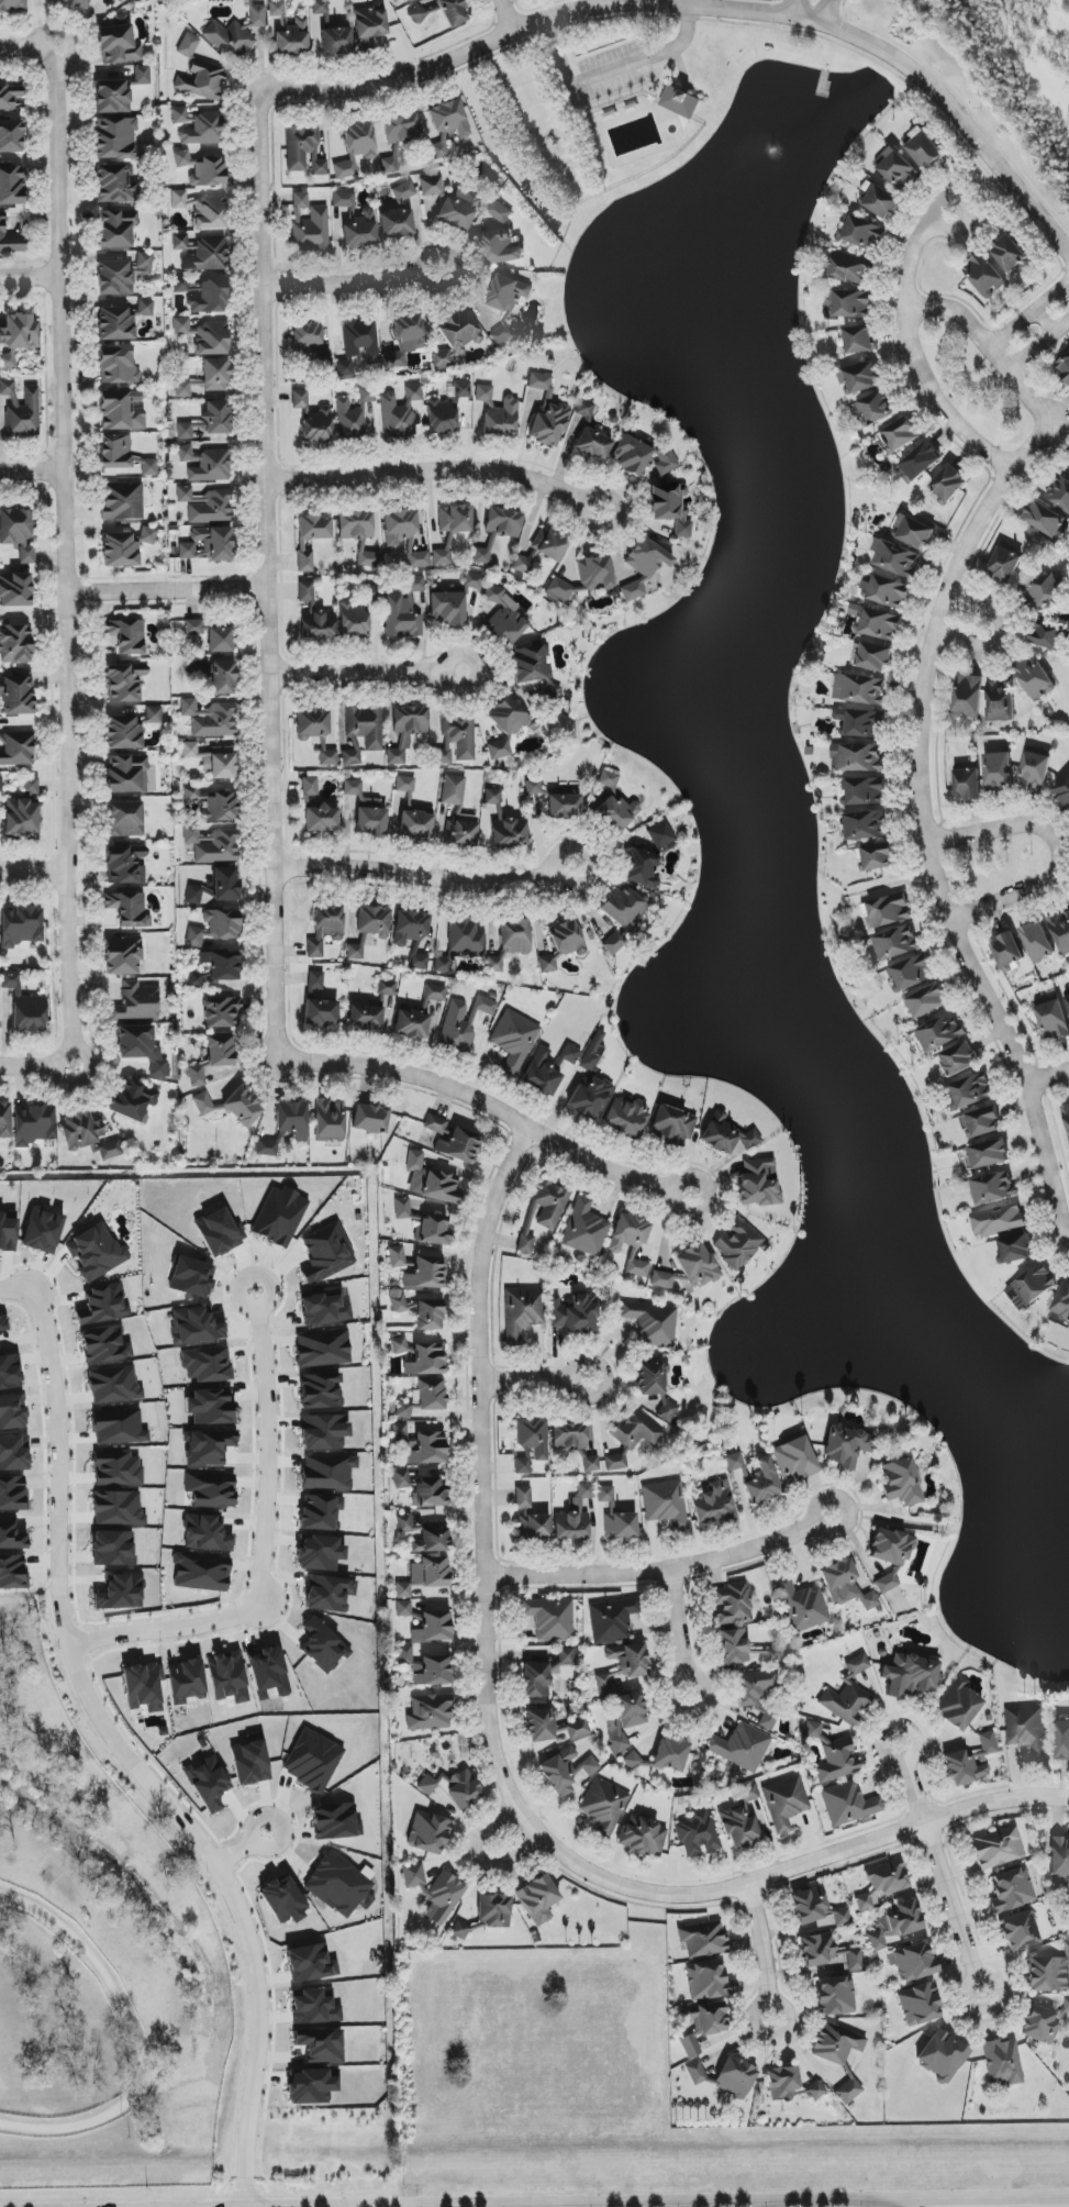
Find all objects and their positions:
building: (119, 0)
building: (403, 0)
road: (677, 2)
building: (75, 3)
building: (12, 4)
building: (320, 7)
road: (705, 8)
road: (792, 8)
building: (442, 11)
road: (829, 13)
road: (510, 14)
building: (257, 15)
building: (369, 24)
building: (289, 32)
building: (229, 40)
building: (335, 40)
building: (118, 45)
road: (609, 70)
building: (199, 73)
building: (142, 75)
building: (9, 95)
building: (112, 97)
building: (680, 102)
building: (447, 125)
building: (198, 126)
building: (400, 129)
building: (10, 136)
building: (115, 138)
building: (359, 141)
building: (924, 149)
building: (304, 151)
fountain: (766, 151)
building: (389, 166)
building: (898, 168)
building: (201, 169)
building: (343, 169)
building: (114, 184)
building: (11, 185)
building: (431, 186)
building: (403, 191)
building: (343, 199)
building: (882, 202)
building: (202, 209)
building: (458, 209)
building: (500, 212)
building: (396, 223)
building: (309, 224)
road: (943, 225)
building: (115, 229)
building: (360, 230)
building: (864, 233)
building: (10, 240)
building: (501, 246)
building: (201, 253)
building: (1009, 253)
building: (144, 264)
building: (851, 267)
building: (983, 274)
road: (24, 277)
building: (114, 278)
road: (358, 281)
building: (204, 292)
building: (508, 293)
building: (849, 304)
building: (145, 308)
road: (1029, 313)
road: (1045, 320)
building: (115, 324)
building: (19, 332)
building: (502, 334)
building: (203, 336)
building: (455, 337)
building: (859, 339)
building: (403, 341)
building: (358, 344)
building: (310, 345)
road: (1039, 345)
road: (915, 356)
building: (8, 361)
building: (118, 366)
building: (1064, 367)
road: (1012, 371)
building: (859, 377)
building: (207, 378)
building: (539, 381)
building: (367, 395)
building: (876, 408)
building: (21, 410)
building: (121, 410)
building: (446, 410)
building: (400, 412)
building: (498, 412)
building: (216, 418)
building: (313, 419)
building: (349, 422)
building: (548, 424)
building: (185, 431)
building: (899, 435)
building: (592, 444)
building: (187, 454)
building: (123, 455)
building: (641, 455)
building: (921, 459)
building: (211, 466)
road: (443, 469)
road: (31, 474)
building: (948, 483)
building: (1059, 491)
building: (122, 500)
building: (207, 504)
building: (670, 508)
building: (454, 519)
building: (1045, 519)
building: (355, 525)
building: (399, 526)
building: (314, 528)
building: (498, 531)
building: (18, 532)
building: (913, 532)
building: (209, 544)
building: (548, 544)
building: (125, 547)
building: (442, 557)
building: (895, 557)
building: (368, 559)
building: (417, 559)
building: (304, 561)
road: (67, 562)
building: (524, 562)
building: (645, 565)
building: (1004, 565)
building: (593, 576)
road: (268, 578)
building: (415, 584)
building: (15, 590)
building: (559, 590)
building: (1043, 590)
building: (888, 591)
building: (305, 592)
road: (169, 595)
building: (493, 595)
building: (452, 601)
building: (358, 613)
building: (401, 617)
building: (506, 623)
building: (318, 624)
building: (880, 624)
building: (193, 628)
road: (1002, 633)
building: (126, 635)
building: (1047, 635)
building: (220, 639)
building: (15, 644)
building: (873, 656)
building: (534, 669)
road: (367, 674)
building: (1039, 675)
building: (223, 678)
building: (124, 683)
building: (860, 689)
building: (16, 696)
building: (967, 696)
building: (1000, 701)
building: (154, 714)
building: (509, 717)
building: (211, 719)
building: (312, 722)
building: (865, 723)
building: (363, 732)
building: (405, 732)
building: (123, 733)
building: (456, 741)
building: (16, 747)
building: (499, 748)
building: (857, 756)
building: (327, 758)
building: (213, 759)
building: (1035, 767)
building: (998, 772)
building: (127, 774)
building: (1, 784)
building: (404, 784)
building: (968, 784)
building: (30, 786)
building: (533, 787)
building: (310, 788)
building: (452, 789)
building: (866, 791)
building: (1062, 791)
building: (492, 797)
building: (614, 805)
building: (564, 807)
building: (366, 810)
building: (21, 816)
building: (125, 819)
building: (321, 819)
building: (415, 823)
building: (864, 825)
building: (463, 830)
building: (508, 832)
building: (660, 835)
building: (211, 844)
road: (1055, 845)
building: (877, 856)
road: (928, 858)
building: (125, 864)
building: (642, 869)
road: (35, 874)
road: (431, 878)
building: (225, 884)
building: (193, 895)
building: (129, 909)
building: (886, 911)
building: (622, 914)
building: (20, 927)
building: (215, 927)
building: (325, 929)
building: (368, 929)
building: (1060, 930)
building: (514, 936)
building: (465, 938)
building: (568, 939)
building: (1037, 941)
building: (897, 942)
building: (1007, 952)
building: (122, 955)
building: (494, 963)
building: (547, 964)
building: (222, 965)
building: (442, 966)
building: (910, 973)
building: (194, 980)
building: (314, 983)
building: (388, 988)
building: (434, 992)
building: (927, 1000)
building: (1067, 1000)
building: (136, 1003)
building: (24, 1006)
building: (221, 1011)
building: (321, 1012)
building: (365, 1018)
building: (1053, 1021)
building: (464, 1022)
building: (411, 1023)
building: (939, 1032)
building: (514, 1040)
building: (141, 1047)
building: (220, 1051)
building: (593, 1051)
building: (569, 1054)
building: (957, 1058)
building: (543, 1072)
building: (197, 1075)
road: (1047, 1083)
building: (971, 1090)
building: (589, 1096)
building: (134, 1101)
building: (202, 1103)
building: (243, 1107)
road: (489, 1108)
building: (1066, 1113)
building: (627, 1117)
building: (370, 1118)
building: (4, 1120)
building: (329, 1120)
building: (984, 1121)
building: (35, 1124)
building: (435, 1124)
building: (672, 1125)
building: (286, 1127)
building: (81, 1130)
building: (726, 1135)
building: (459, 1145)
building: (109, 1150)
building: (989, 1154)
building: (414, 1161)
building: (759, 1183)
building: (441, 1187)
building: (993, 1187)
building: (402, 1208)
building: (544, 1210)
building: (998, 1220)
building: (434, 1229)
building: (584, 1229)
building: (8, 1231)
building: (42, 1231)
building: (219, 1232)
building: (631, 1243)
building: (737, 1244)
building: (1016, 1247)
building: (98, 1252)
building: (326, 1253)
building: (397, 1256)
building: (689, 1269)
building: (425, 1273)
building: (1031, 1286)
road: (13, 1289)
building: (1062, 1301)
building: (398, 1304)
building: (102, 1305)
building: (322, 1308)
building: (521, 1311)
building: (428, 1315)
building: (574, 1316)
building: (653, 1322)
building: (196, 1326)
building: (103, 1345)
building: (323, 1349)
building: (419, 1357)
building: (205, 1365)
road: (535, 1379)
building: (113, 1385)
building: (655, 1387)
building: (320, 1391)
building: (431, 1395)
building: (211, 1407)
building: (403, 1409)
building: (12, 1412)
building: (119, 1428)
building: (323, 1431)
building: (399, 1433)
building: (569, 1437)
building: (631, 1437)
building: (531, 1443)
building: (845, 1446)
building: (209, 1448)
building: (427, 1449)
building: (13, 1453)
road: (261, 1457)
building: (794, 1460)
building: (734, 1462)
building: (590, 1464)
building: (116, 1468)
building: (327, 1472)
road: (482, 1475)
building: (401, 1478)
building: (901, 1482)
building: (762, 1483)
building: (211, 1490)
building: (428, 1491)
building: (12, 1493)
building: (605, 1494)
building: (523, 1498)
building: (713, 1502)
building: (665, 1504)
building: (118, 1508)
building: (320, 1512)
building: (574, 1517)
building: (620, 1526)
building: (534, 1527)
building: (205, 1533)
building: (11, 1534)
building: (423, 1534)
building: (891, 1546)
building: (112, 1549)
building: (320, 1553)
building: (431, 1572)
building: (12, 1573)
building: (201, 1573)
road: (666, 1573)
building: (888, 1583)
building: (845, 1585)
building: (402, 1590)
building: (121, 1593)
building: (327, 1594)
building: (732, 1605)
building: (801, 1605)
building: (403, 1608)
building: (550, 1618)
building: (611, 1620)
building: (433, 1627)
road: (159, 1632)
road: (678, 1637)
building: (322, 1646)
building: (744, 1649)
building: (623, 1665)
building: (857, 1665)
building: (425, 1667)
building: (267, 1671)
building: (229, 1677)
building: (535, 1679)
building: (186, 1682)
building: (144, 1687)
building: (756, 1695)
building: (845, 1703)
building: (958, 1706)
building: (430, 1712)
building: (625, 1720)
building: (553, 1726)
building: (1028, 1731)
building: (1062, 1740)
building: (988, 1743)
building: (740, 1746)
building: (664, 1755)
building: (832, 1755)
road: (127, 1756)
building: (249, 1763)
building: (965, 1767)
building: (566, 1771)
building: (208, 1783)
building: (455, 1788)
building: (786, 1803)
building: (848, 1804)
building: (604, 1806)
building: (427, 1833)
building: (699, 1836)
building: (644, 1838)
building: (996, 1848)
road: (237, 1852)
road: (475, 1859)
building: (1060, 1861)
road: (938, 1866)
road: (790, 1871)
building: (882, 1883)
building: (336, 1885)
building: (1012, 1890)
building: (435, 1892)
building: (537, 1899)
building: (493, 1910)
building: (815, 1910)
building: (893, 1923)
building: (459, 1930)
building: (1018, 1931)
building: (702, 1939)
building: (829, 1952)
road: (761, 1955)
building: (912, 1962)
building: (310, 1963)
building: (1049, 1973)
building: (708, 1981)
building: (835, 1996)
building: (1067, 2004)
building: (918, 2005)
building: (314, 2007)
building: (1040, 2025)
road: (135, 2040)
building: (836, 2043)
building: (320, 2045)
building: (690, 2047)
building: (942, 2055)
building: (1003, 2062)
building: (695, 2072)
building: (735, 2078)
building: (782, 2083)
building: (312, 2086)
building: (849, 2090)
building: (816, 2092)
road: (964, 2196)
road: (1055, 2196)
road: (566, 2200)
road: (888, 2202)
road: (921, 2202)
road: (560, 2204)

